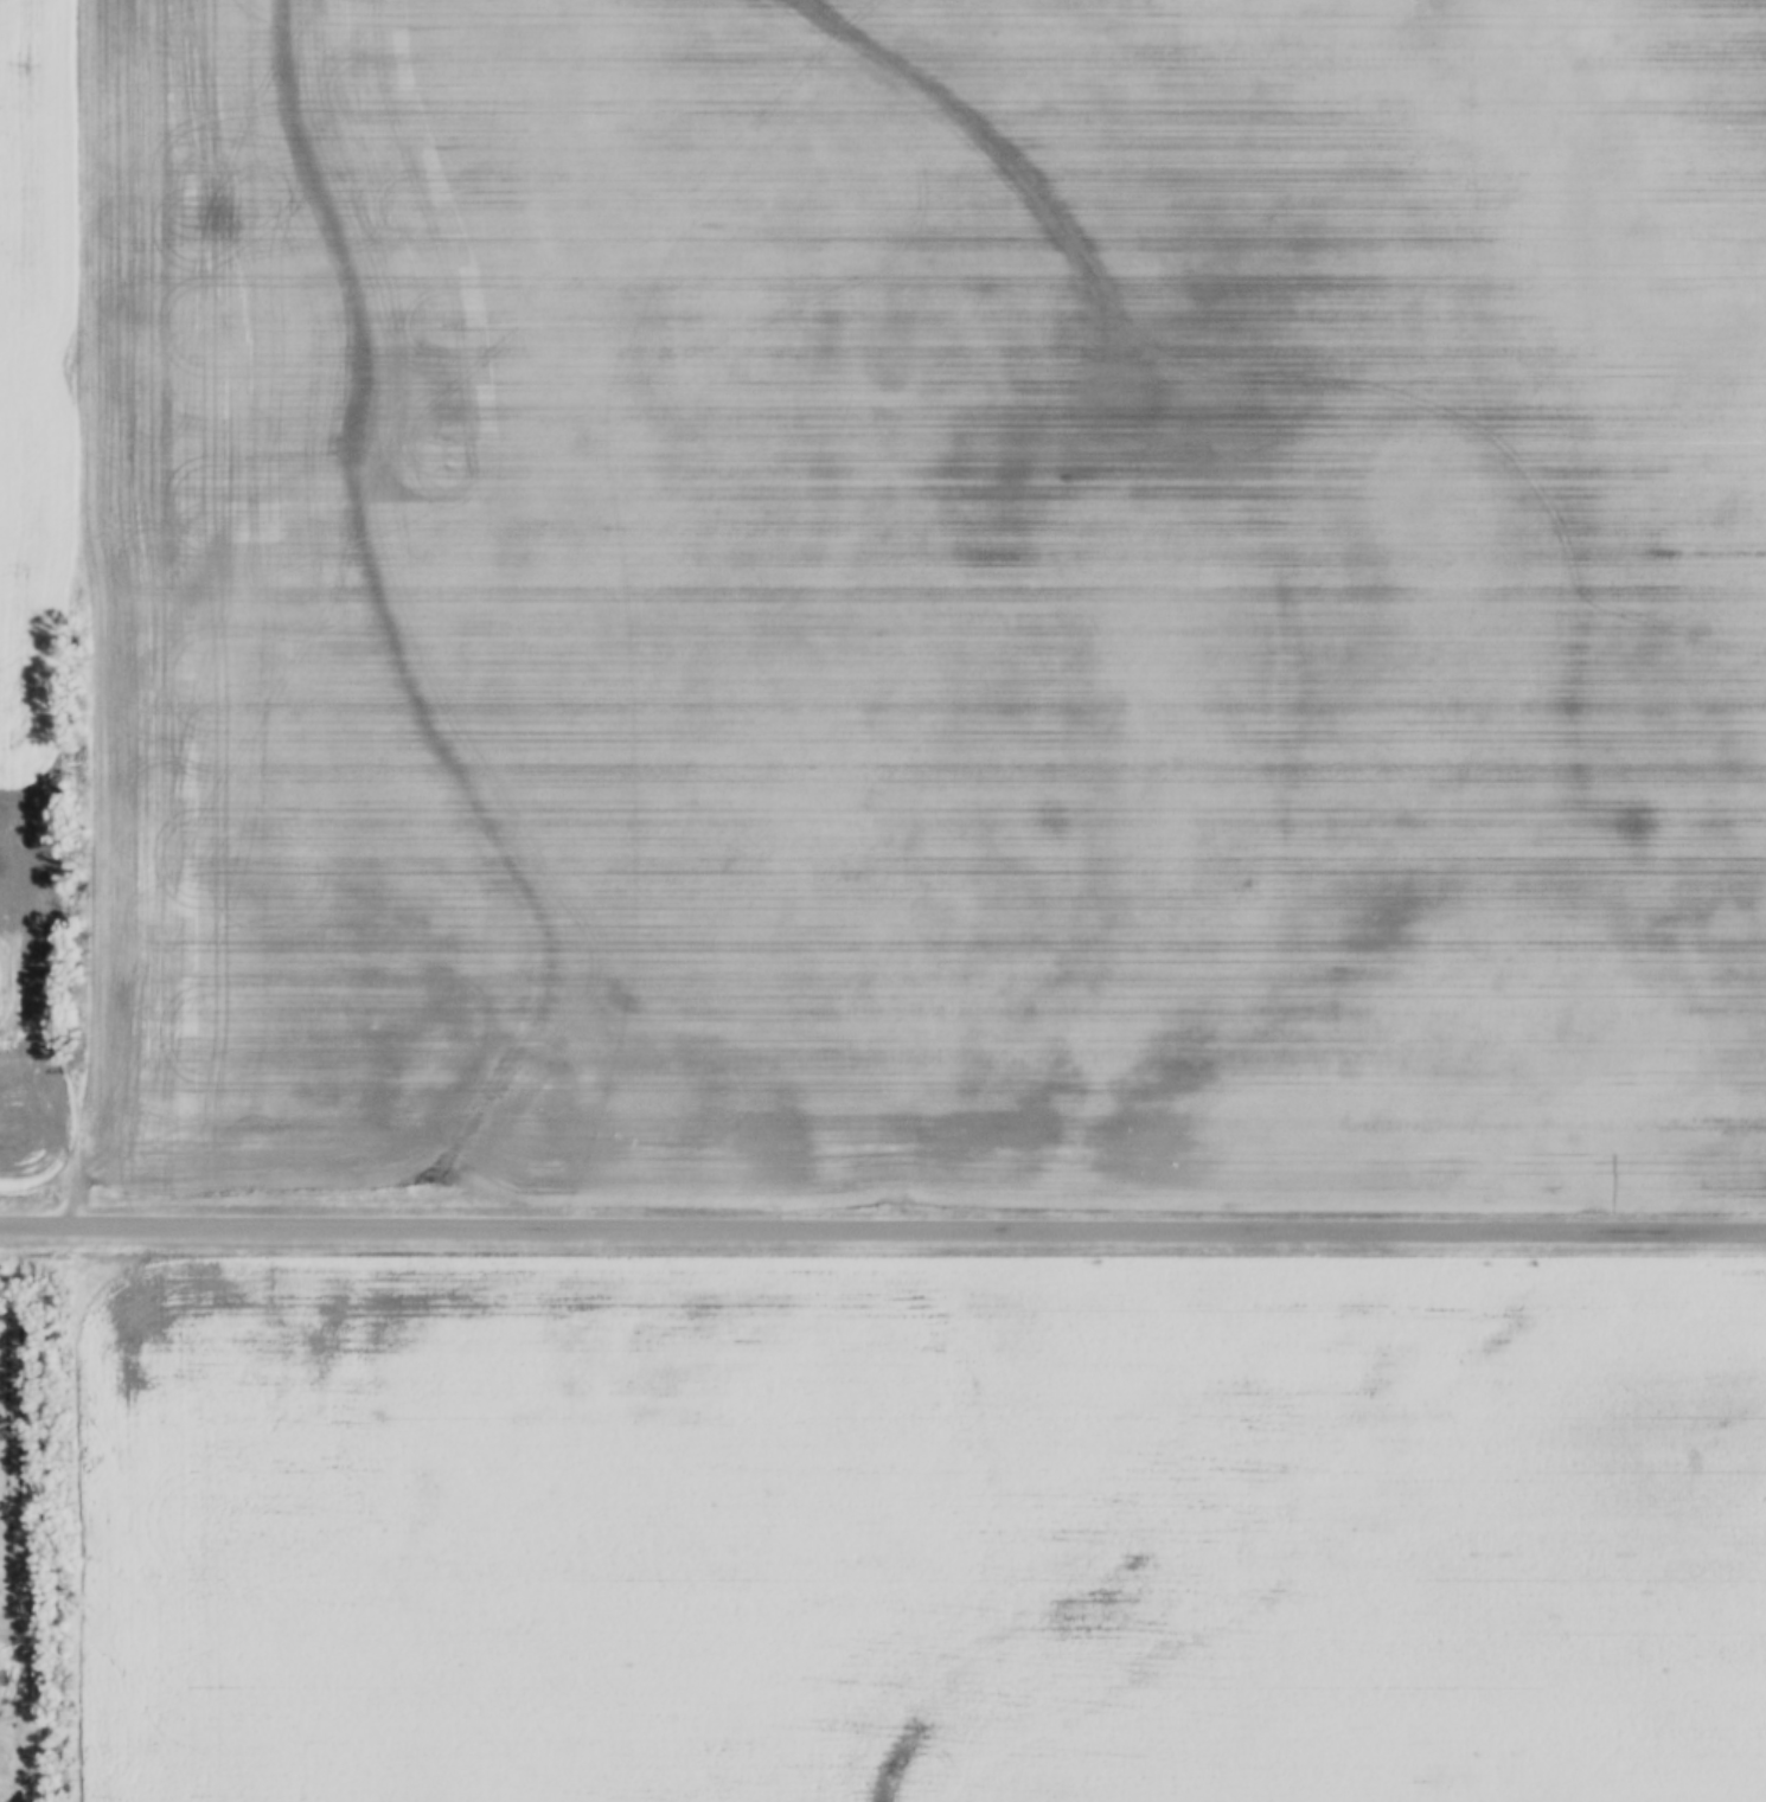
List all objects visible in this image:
road: (882, 1227)

